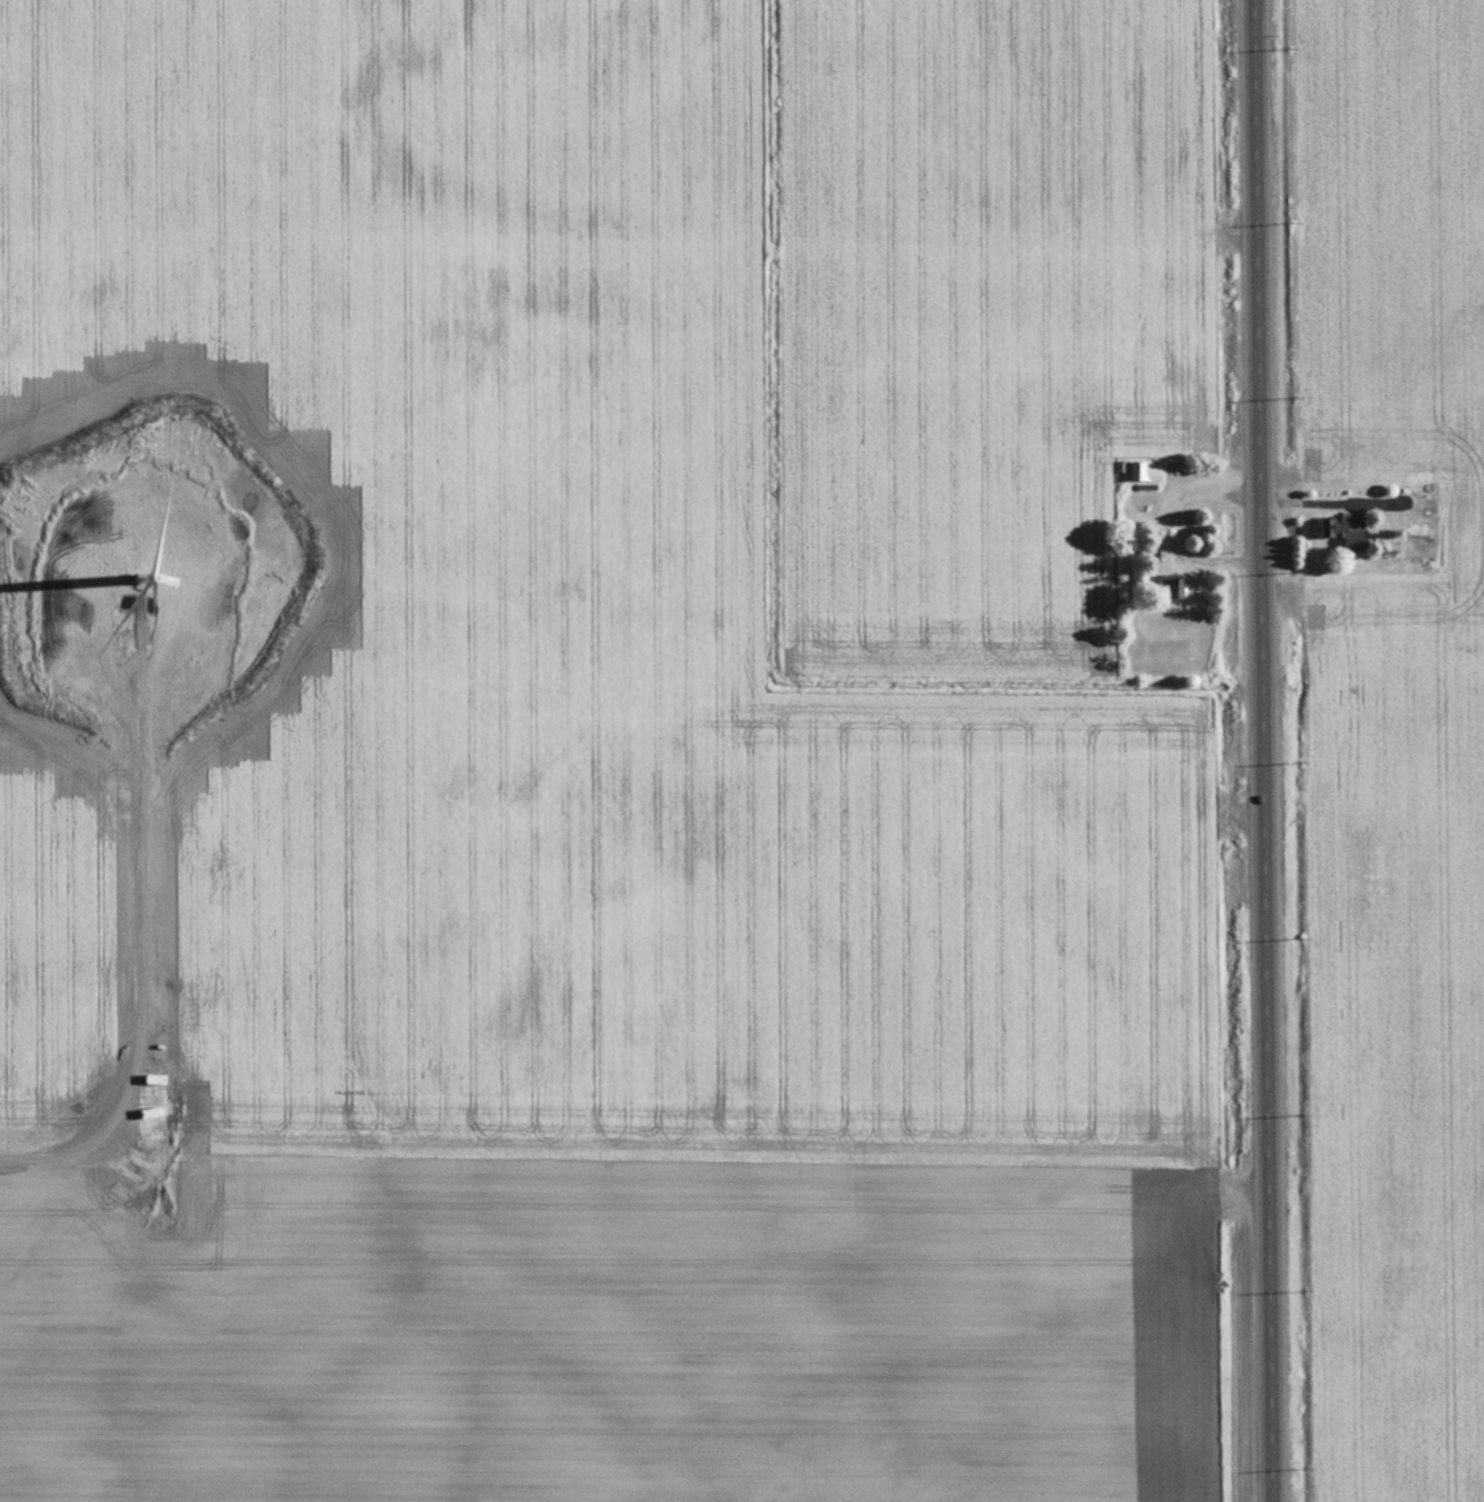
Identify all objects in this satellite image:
building: (1146, 472)
building: (1347, 532)
building: (1164, 580)
building: (1179, 586)
wind turbine: (139, 589)
road: (1267, 751)

